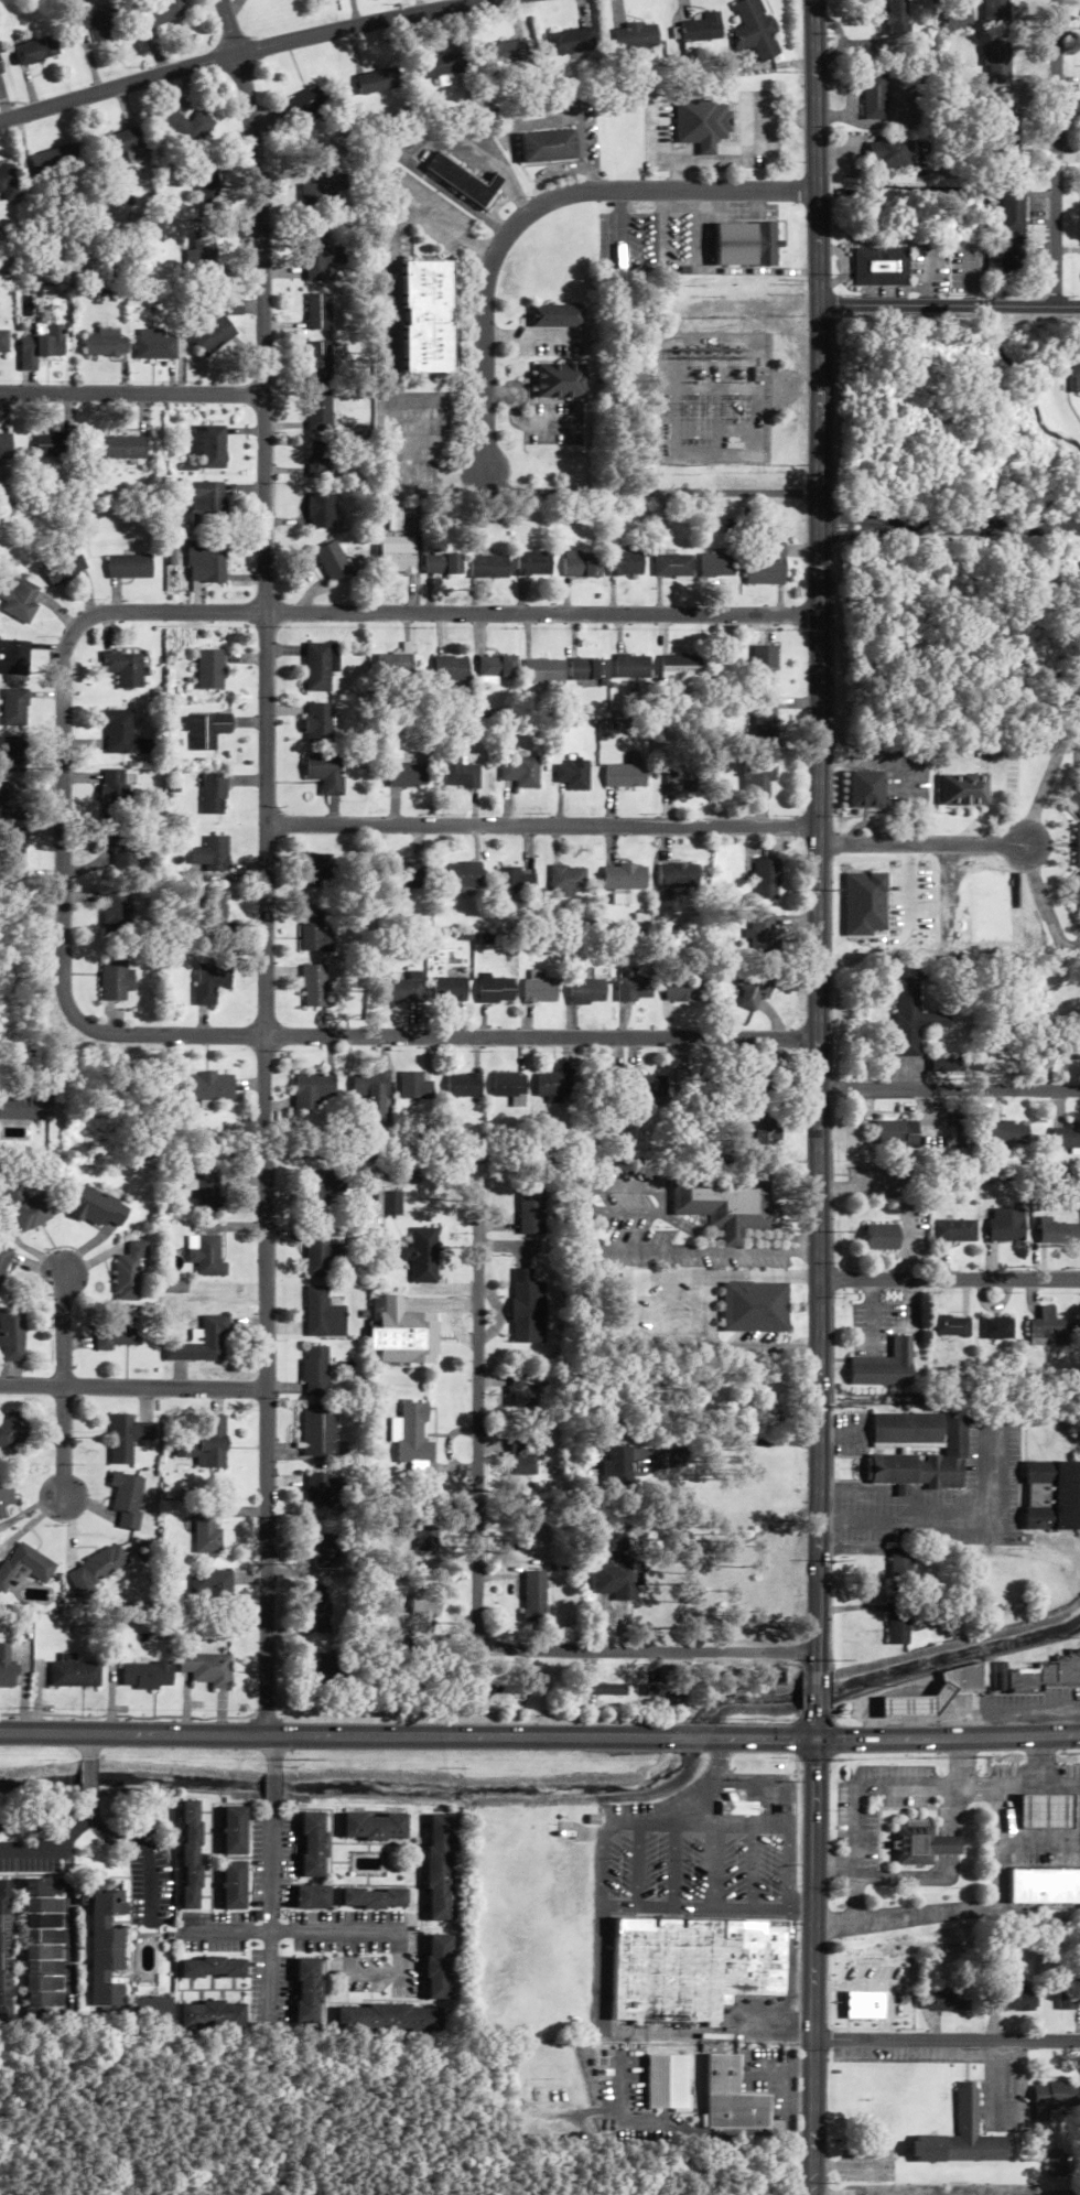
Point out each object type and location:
building: (995, 11)
building: (161, 12)
building: (896, 18)
building: (957, 19)
building: (95, 22)
building: (700, 29)
building: (754, 31)
building: (635, 37)
building: (571, 42)
building: (37, 50)
road: (239, 54)
building: (506, 54)
building: (998, 63)
building: (443, 66)
building: (1, 67)
building: (381, 80)
building: (873, 96)
building: (309, 100)
building: (701, 123)
building: (191, 126)
building: (1011, 135)
building: (123, 143)
building: (549, 147)
road: (1055, 150)
building: (888, 152)
building: (58, 158)
building: (465, 180)
building: (9, 182)
building: (209, 184)
building: (325, 186)
building: (1012, 206)
road: (529, 212)
building: (743, 244)
building: (203, 255)
building: (322, 257)
building: (1012, 261)
building: (879, 267)
building: (233, 302)
road: (948, 302)
building: (318, 311)
building: (557, 315)
building: (426, 316)
building: (213, 336)
building: (3, 341)
building: (105, 343)
building: (153, 345)
building: (41, 346)
building: (317, 362)
building: (1074, 368)
building: (559, 380)
road: (131, 395)
building: (316, 410)
building: (4, 444)
building: (48, 445)
building: (208, 446)
building: (123, 448)
building: (318, 460)
road: (651, 492)
building: (205, 503)
building: (320, 509)
road: (949, 527)
building: (395, 553)
building: (208, 558)
building: (331, 560)
building: (442, 563)
building: (532, 563)
building: (625, 563)
building: (765, 563)
building: (61, 564)
building: (581, 564)
building: (127, 566)
building: (672, 566)
building: (717, 566)
building: (487, 567)
building: (17, 600)
road: (241, 612)
building: (12, 657)
building: (393, 664)
building: (314, 667)
building: (633, 667)
building: (764, 667)
building: (121, 668)
building: (208, 669)
building: (449, 669)
building: (494, 669)
building: (588, 669)
building: (681, 669)
building: (542, 670)
building: (12, 708)
building: (765, 720)
building: (316, 723)
building: (204, 730)
building: (120, 733)
road: (1076, 745)
building: (12, 758)
road: (832, 763)
road: (899, 763)
road: (972, 763)
building: (324, 772)
building: (458, 772)
building: (520, 772)
building: (683, 773)
building: (572, 774)
building: (626, 774)
building: (404, 775)
building: (759, 776)
road: (998, 779)
building: (110, 787)
building: (865, 788)
building: (964, 789)
building: (212, 794)
building: (1074, 798)
building: (11, 800)
road: (985, 820)
road: (542, 826)
road: (819, 836)
road: (922, 844)
building: (1078, 844)
building: (12, 846)
road: (1027, 846)
building: (119, 849)
building: (209, 856)
road: (266, 865)
building: (317, 870)
building: (464, 874)
building: (679, 874)
building: (768, 874)
building: (404, 876)
building: (625, 876)
building: (515, 881)
building: (568, 881)
building: (1074, 890)
building: (116, 907)
building: (213, 911)
building: (314, 932)
building: (762, 933)
road: (1077, 948)
building: (117, 980)
building: (210, 981)
building: (314, 986)
building: (450, 989)
building: (635, 989)
building: (496, 990)
building: (541, 990)
building: (685, 990)
building: (755, 990)
building: (398, 991)
building: (587, 991)
building: (911, 1018)
road: (450, 1037)
building: (1077, 1042)
building: (955, 1066)
building: (684, 1077)
road: (249, 1084)
building: (208, 1085)
building: (464, 1085)
building: (415, 1086)
building: (554, 1086)
building: (313, 1089)
road: (950, 1089)
building: (371, 1090)
building: (766, 1128)
building: (1007, 1133)
building: (895, 1134)
building: (1065, 1137)
building: (323, 1185)
building: (213, 1193)
building: (724, 1202)
building: (389, 1203)
building: (31, 1207)
building: (99, 1207)
building: (531, 1209)
building: (1004, 1224)
building: (952, 1229)
building: (1055, 1231)
building: (879, 1236)
building: (323, 1252)
building: (421, 1255)
building: (210, 1256)
building: (4, 1261)
building: (132, 1270)
road: (949, 1279)
building: (176, 1287)
building: (526, 1306)
building: (753, 1306)
building: (324, 1314)
parking lot: (883, 1317)
building: (949, 1325)
building: (995, 1327)
building: (1048, 1328)
road: (64, 1330)
building: (13, 1333)
building: (118, 1334)
building: (403, 1334)
building: (204, 1342)
building: (882, 1366)
building: (317, 1370)
road: (132, 1388)
building: (518, 1392)
road: (478, 1419)
building: (905, 1429)
building: (13, 1430)
building: (321, 1430)
building: (411, 1434)
building: (128, 1437)
road: (65, 1444)
building: (206, 1444)
building: (905, 1446)
building: (519, 1459)
building: (924, 1461)
building: (616, 1468)
building: (326, 1491)
building: (899, 1491)
building: (6, 1495)
building: (1054, 1495)
building: (128, 1499)
building: (208, 1530)
building: (421, 1534)
building: (1023, 1540)
building: (322, 1548)
building: (29, 1565)
building: (899, 1565)
building: (98, 1567)
building: (613, 1571)
building: (209, 1582)
building: (532, 1597)
building: (320, 1610)
building: (414, 1615)
building: (897, 1624)
road: (648, 1651)
building: (8, 1668)
building: (209, 1668)
building: (75, 1672)
building: (325, 1672)
building: (1047, 1672)
building: (149, 1675)
building: (771, 1676)
building: (998, 1676)
building: (962, 1677)
building: (605, 1689)
building: (662, 1690)
road: (819, 1691)
building: (941, 1694)
building: (906, 1706)
road: (1018, 1715)
road: (915, 1718)
road: (818, 1724)
road: (957, 1728)
road: (874, 1729)
road: (136, 1734)
road: (471, 1736)
road: (690, 1737)
road: (948, 1737)
road: (714, 1739)
road: (768, 1739)
traffic signals: (818, 1740)
road: (91, 1747)
road: (276, 1755)
road: (957, 1762)
road: (1040, 1762)
road: (717, 1766)
road: (93, 1777)
road: (896, 1787)
road: (961, 1787)
road: (1032, 1787)
road: (276, 1788)
river: (566, 1789)
building: (730, 1797)
road: (692, 1808)
road: (706, 1808)
building: (736, 1808)
building: (1045, 1810)
gas station: (1045, 1810)
road: (83, 1821)
road: (625, 1825)
road: (721, 1825)
road: (858, 1826)
building: (379, 1827)
road: (108, 1831)
building: (239, 1831)
building: (915, 1844)
building: (947, 1844)
building: (316, 1846)
road: (1067, 1847)
road: (35, 1850)
building: (196, 1857)
parking lot: (687, 1862)
road: (637, 1865)
road: (838, 1865)
road: (674, 1866)
road: (714, 1866)
road: (752, 1868)
road: (788, 1868)
building: (444, 1869)
road: (602, 1871)
road: (152, 1879)
building: (1044, 1884)
building: (238, 1886)
road: (857, 1894)
building: (315, 1898)
building: (376, 1900)
road: (708, 1908)
road: (274, 1911)
road: (969, 1911)
road: (73, 1933)
road: (293, 1933)
building: (106, 1946)
building: (44, 1949)
building: (6, 1951)
building: (694, 1967)
road: (814, 1967)
building: (218, 1968)
building: (445, 1969)
road: (376, 1975)
building: (311, 1991)
building: (943, 1997)
building: (1014, 1999)
building: (1069, 1999)
building: (153, 2012)
building: (217, 2015)
building: (392, 2019)
road: (647, 2031)
road: (947, 2042)
building: (966, 2085)
building: (736, 2099)
building: (1055, 2099)
building: (531, 2133)
building: (962, 2135)
building: (912, 2148)
building: (1055, 2162)
road: (852, 2167)
road: (866, 2193)
road: (970, 2193)

